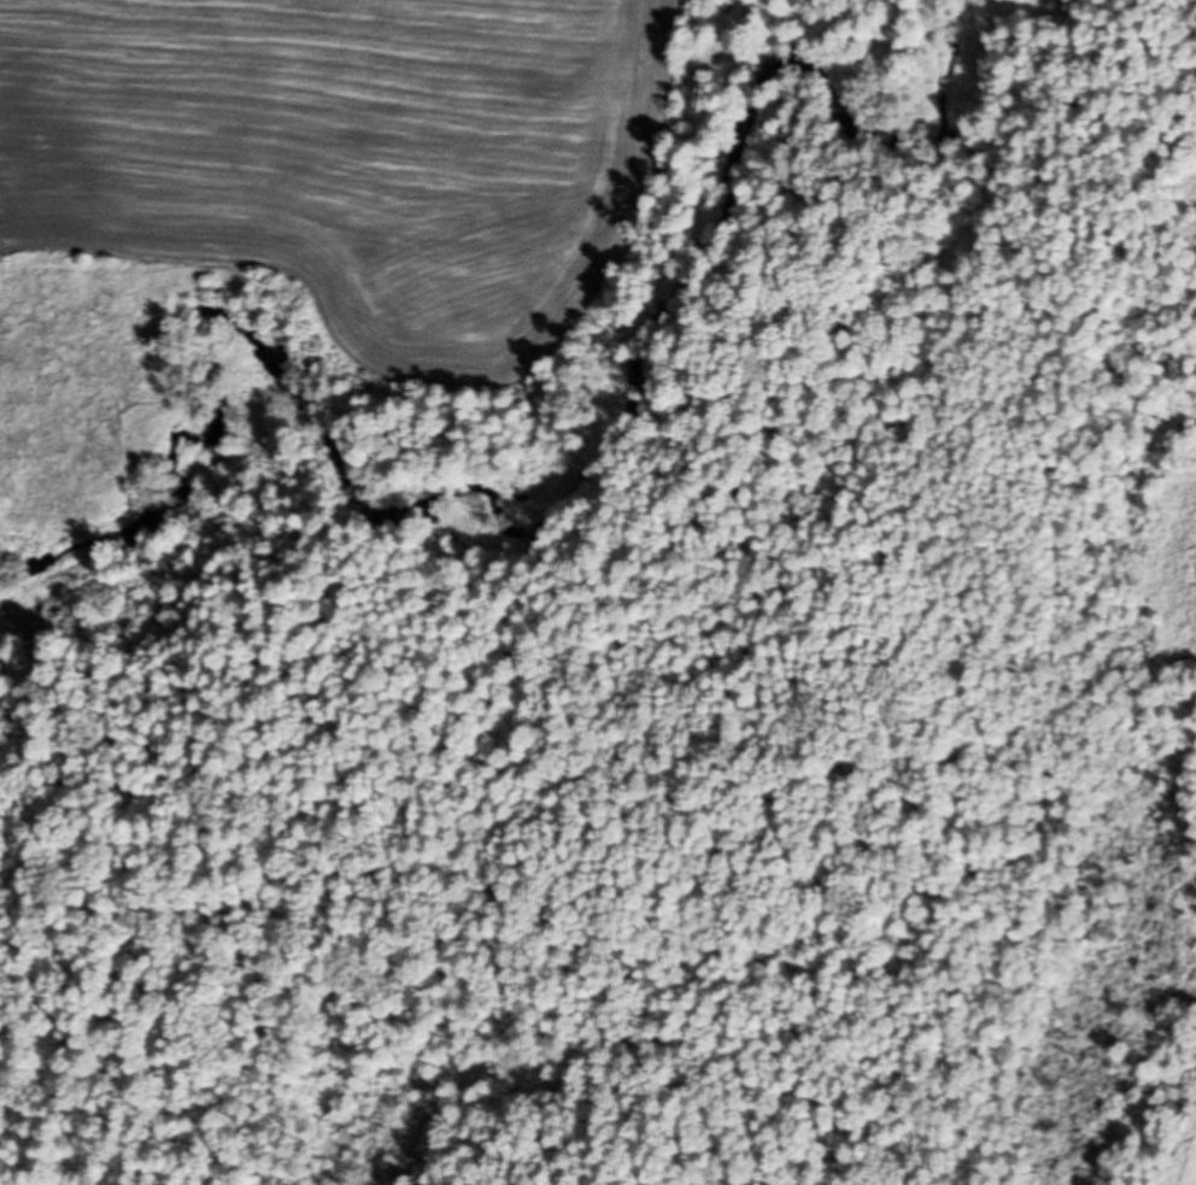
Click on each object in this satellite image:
building: (722, 5)

